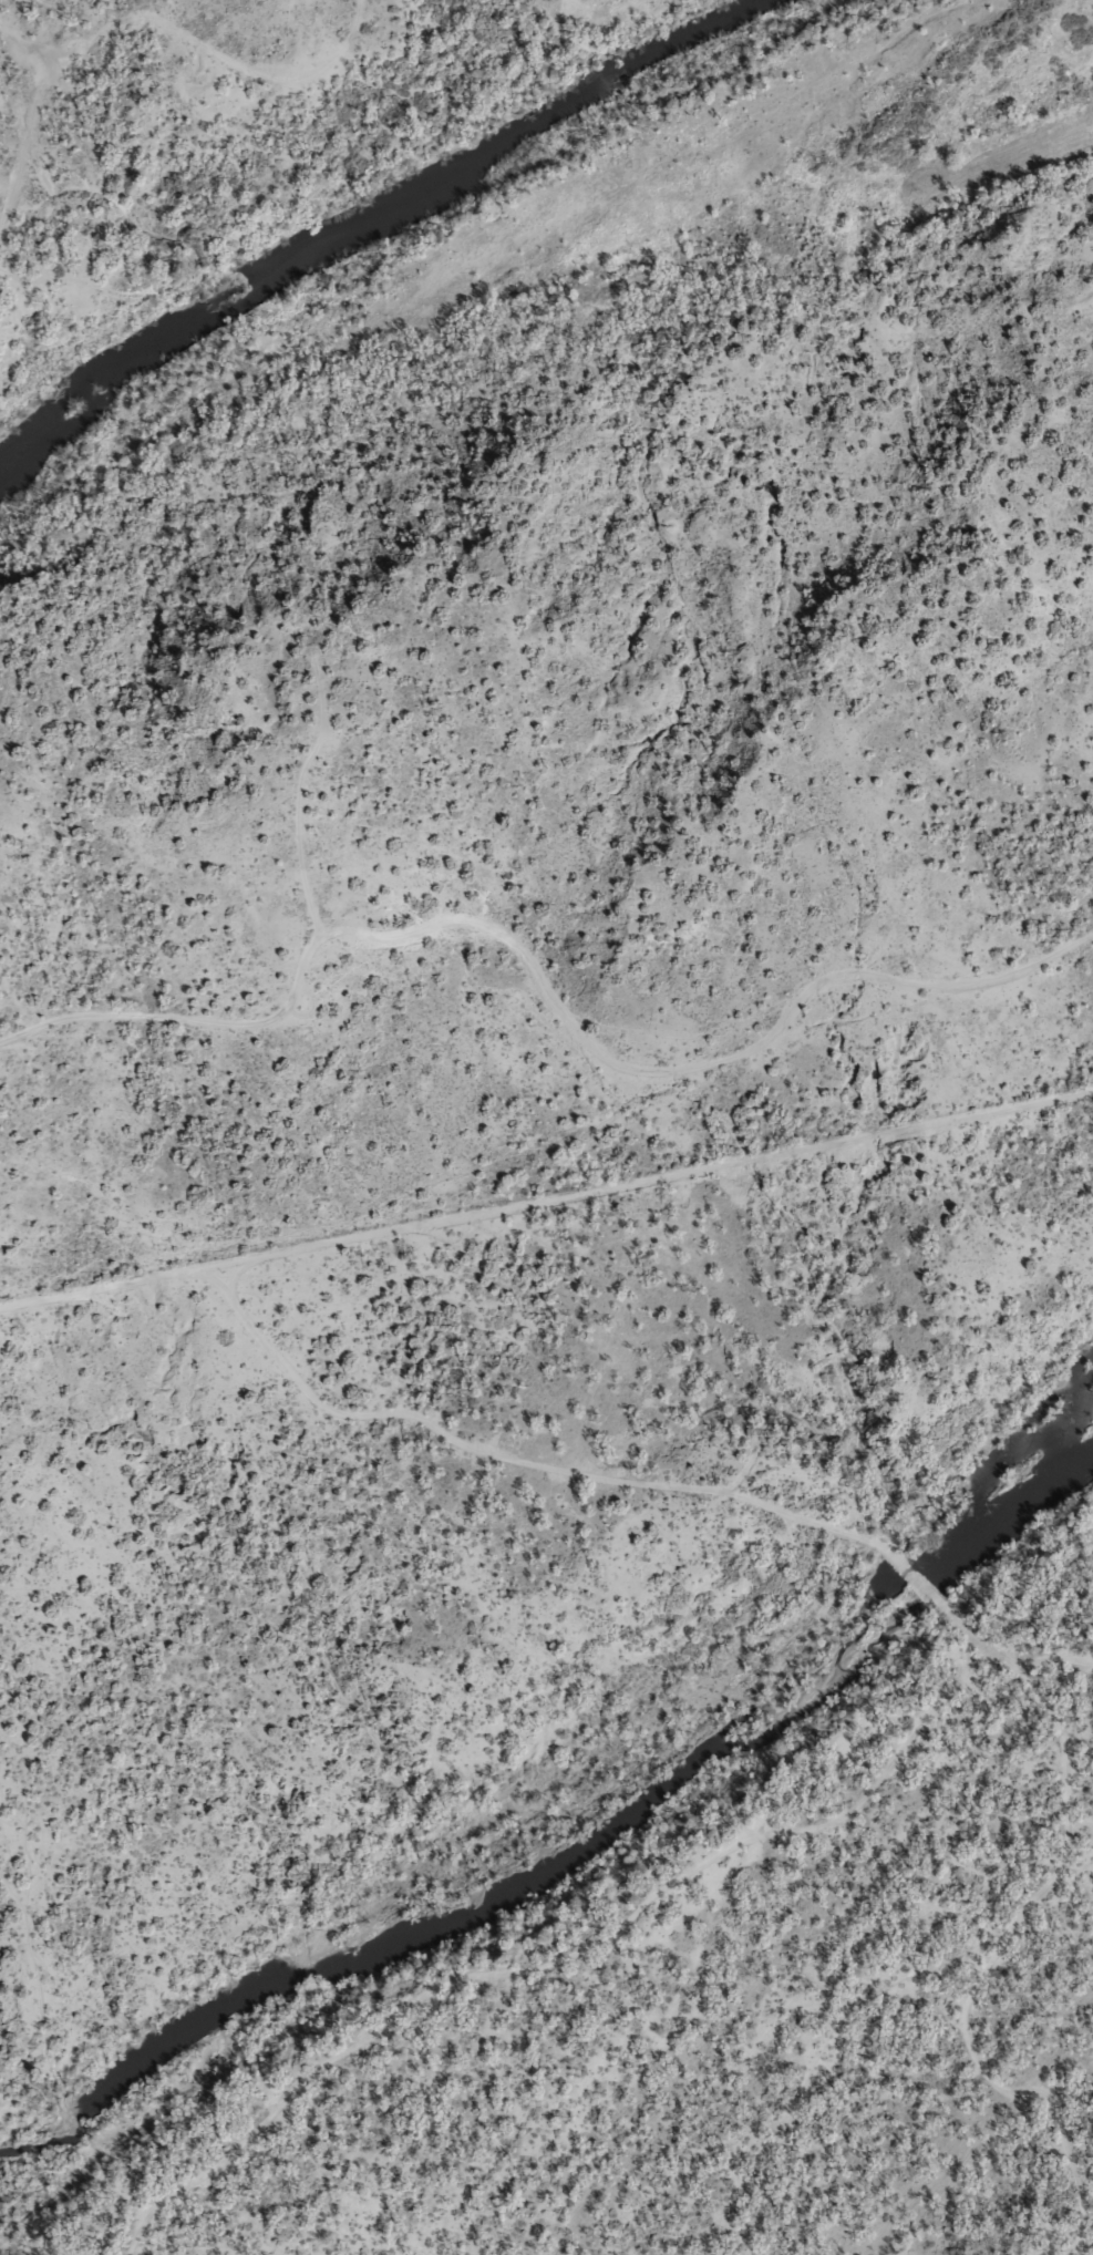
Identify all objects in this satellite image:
river: (383, 230)
river: (576, 1849)

